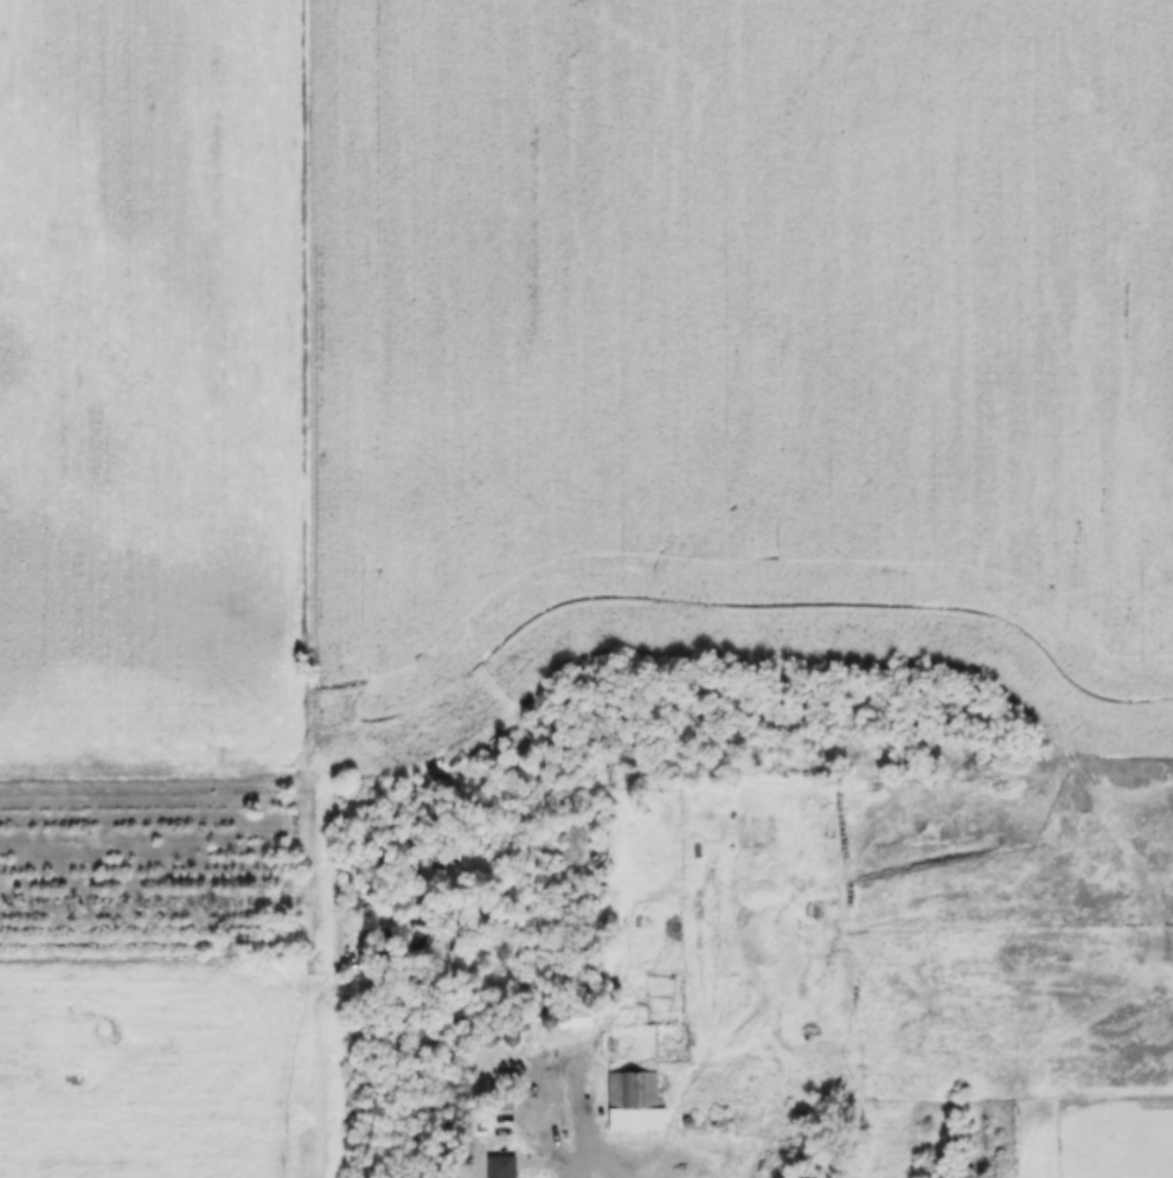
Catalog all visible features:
building: (634, 1103)
building: (500, 1167)

